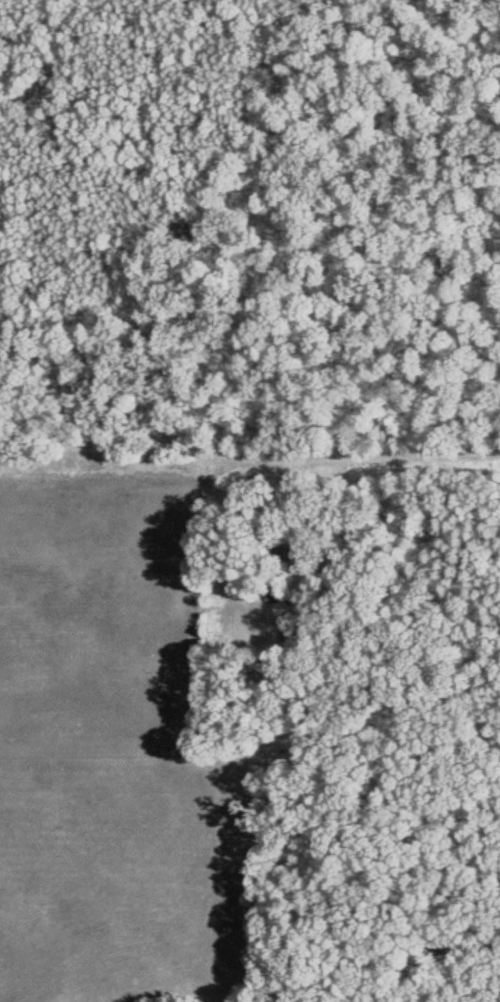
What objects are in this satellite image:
road: (250, 454)

